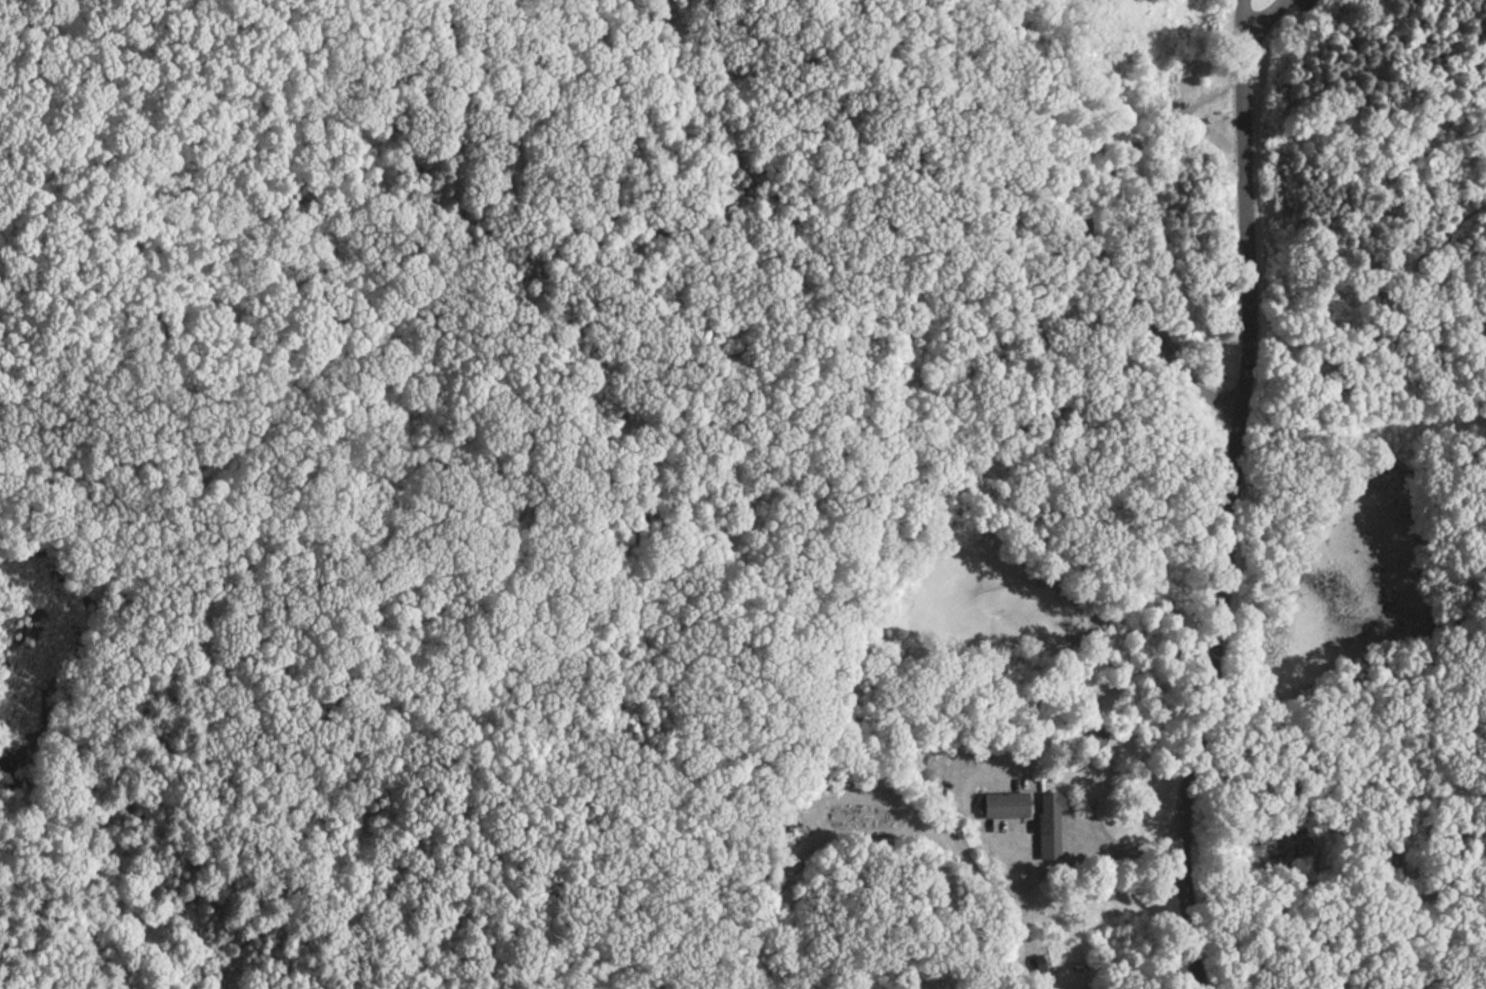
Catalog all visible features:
parking lot: (1302, 2)
road: (1250, 32)
road: (412, 46)
road: (1269, 48)
road: (802, 102)
road: (1225, 112)
road: (169, 113)
road: (1045, 114)
building: (1204, 120)
road: (1144, 136)
road: (419, 155)
road: (1246, 223)
road: (1423, 256)
road: (1148, 334)
park: (743, 494)
road: (665, 625)
road: (1203, 698)
building: (1097, 738)
road: (871, 800)
building: (1008, 805)
building: (1052, 824)
road: (1072, 863)
building: (1058, 963)

